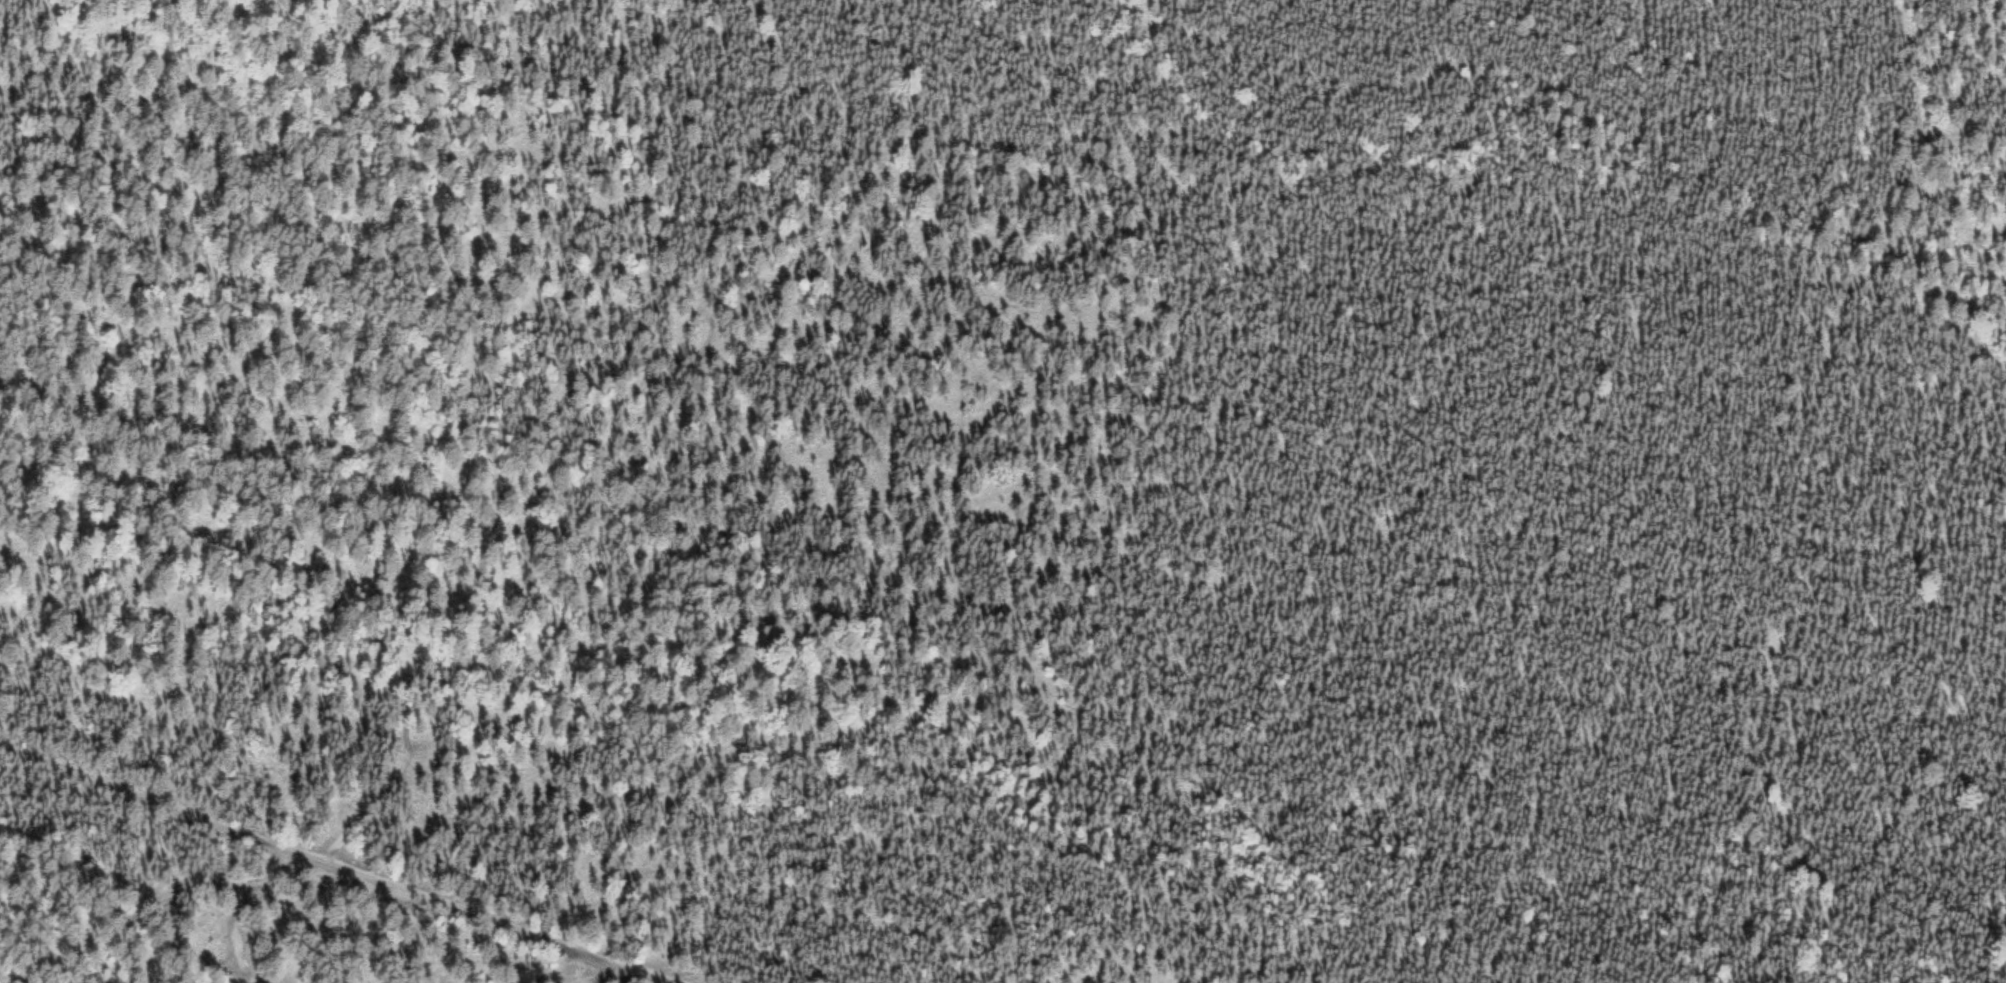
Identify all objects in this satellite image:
road: (1912, 163)
road: (329, 868)
road: (159, 902)
road: (584, 975)

